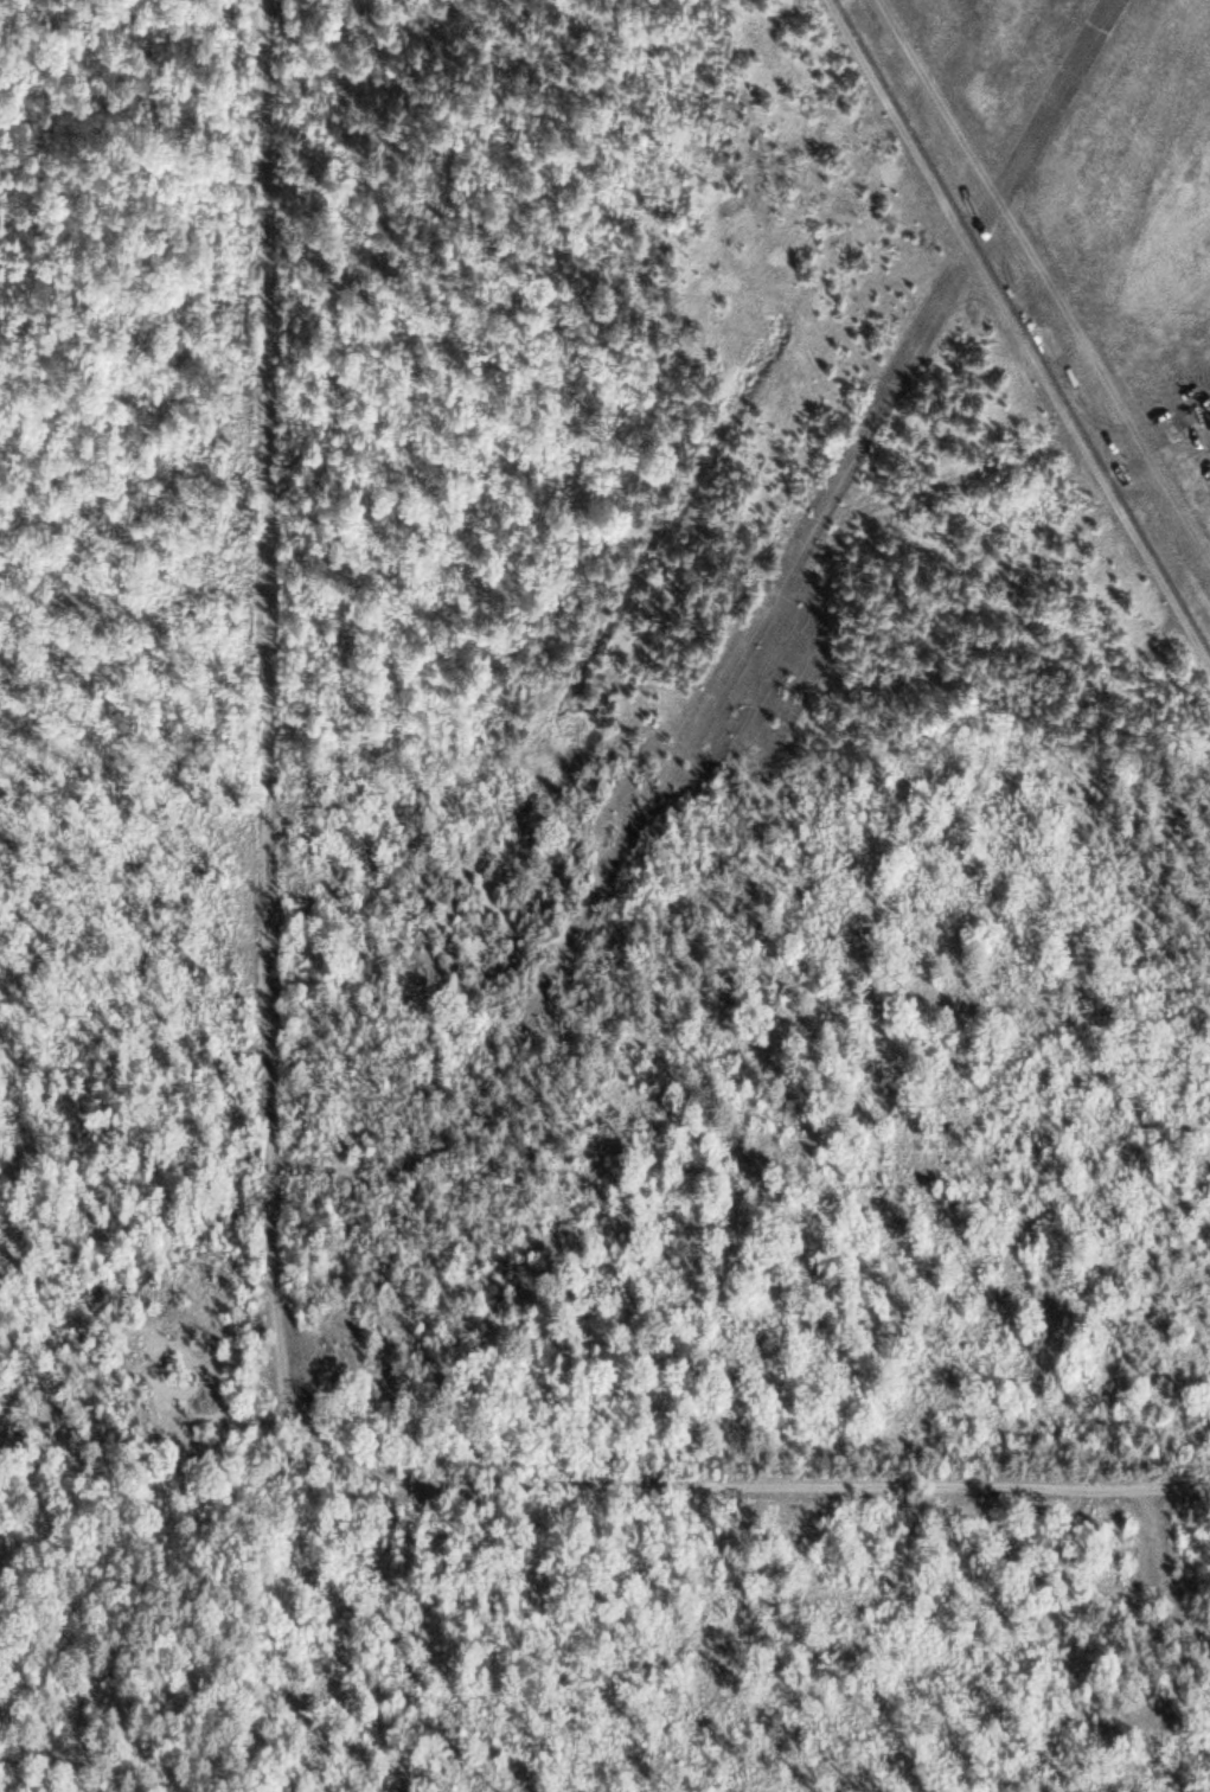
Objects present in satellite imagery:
airport: (1082, 220)
road: (1033, 294)
road: (645, 745)
road: (264, 1185)

